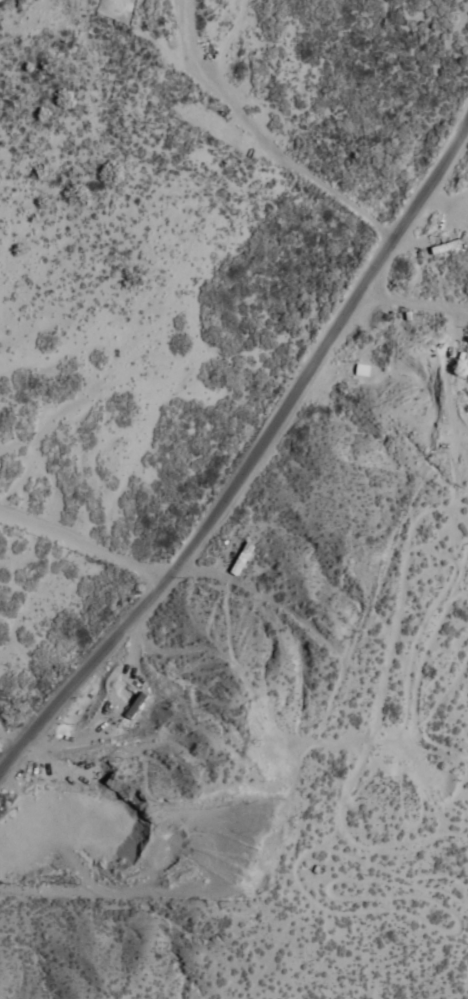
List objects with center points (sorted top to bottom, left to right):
building: (444, 249)
road: (138, 427)
road: (243, 450)
road: (2, 777)

